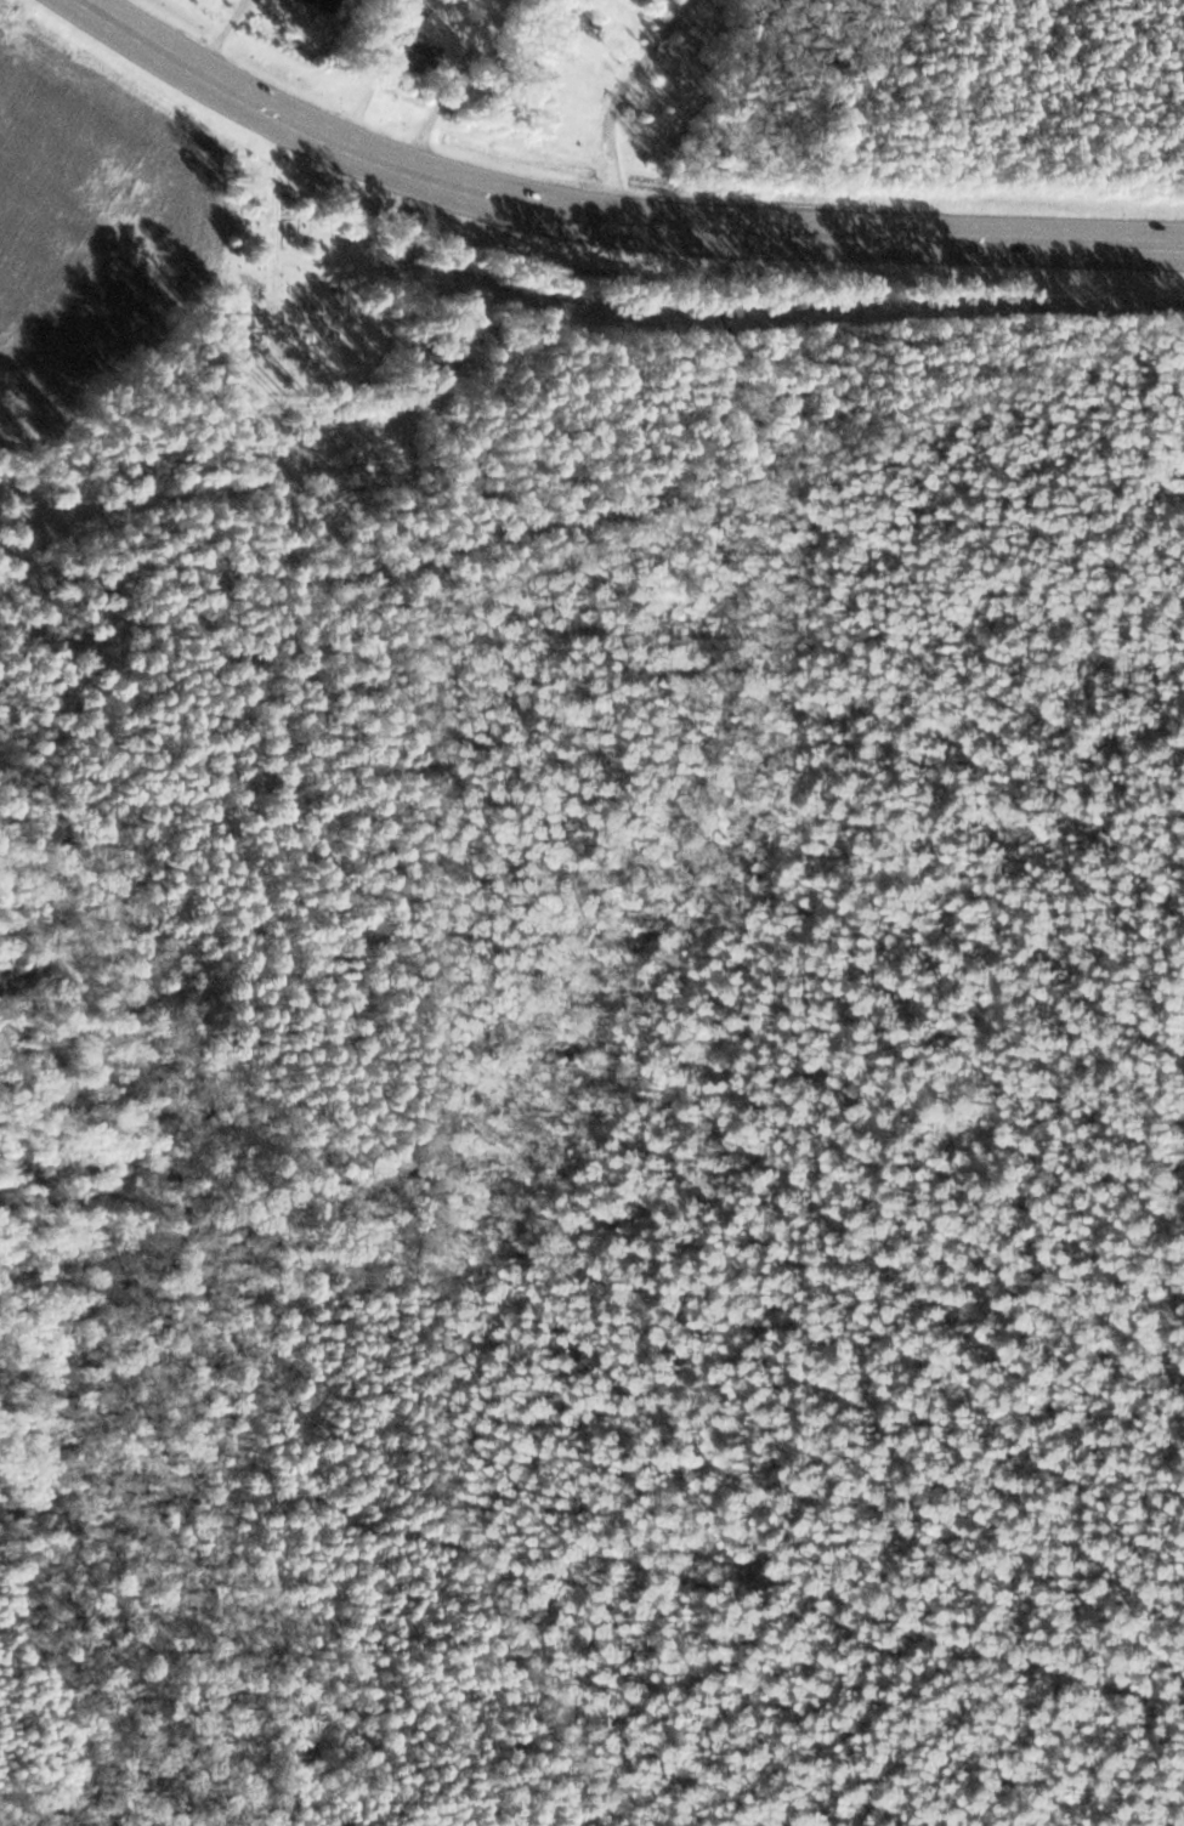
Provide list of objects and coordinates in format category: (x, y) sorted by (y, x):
building: (311, 2)
road: (215, 34)
road: (618, 100)
road: (610, 217)
park: (299, 290)

